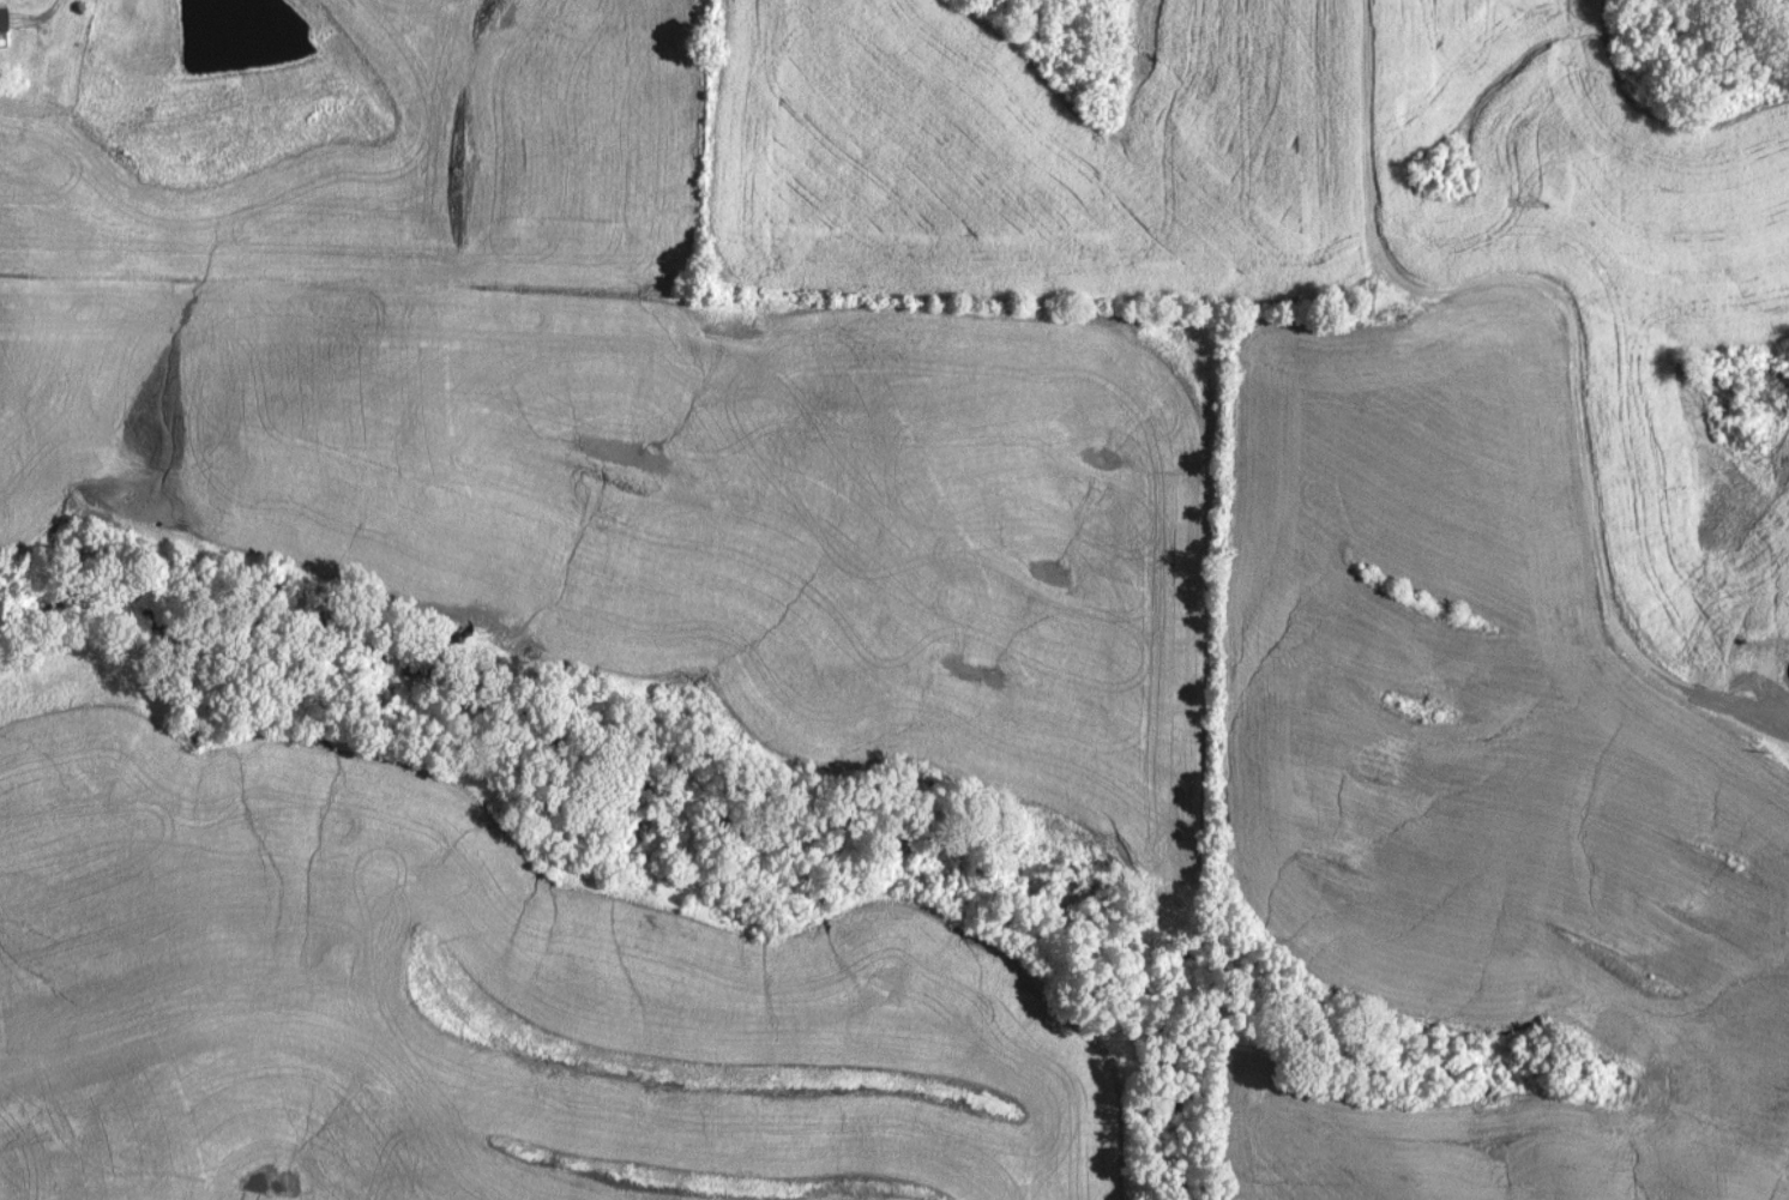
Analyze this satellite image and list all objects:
building: (6, 20)
road: (58, 29)
road: (1585, 339)
building: (1760, 707)

